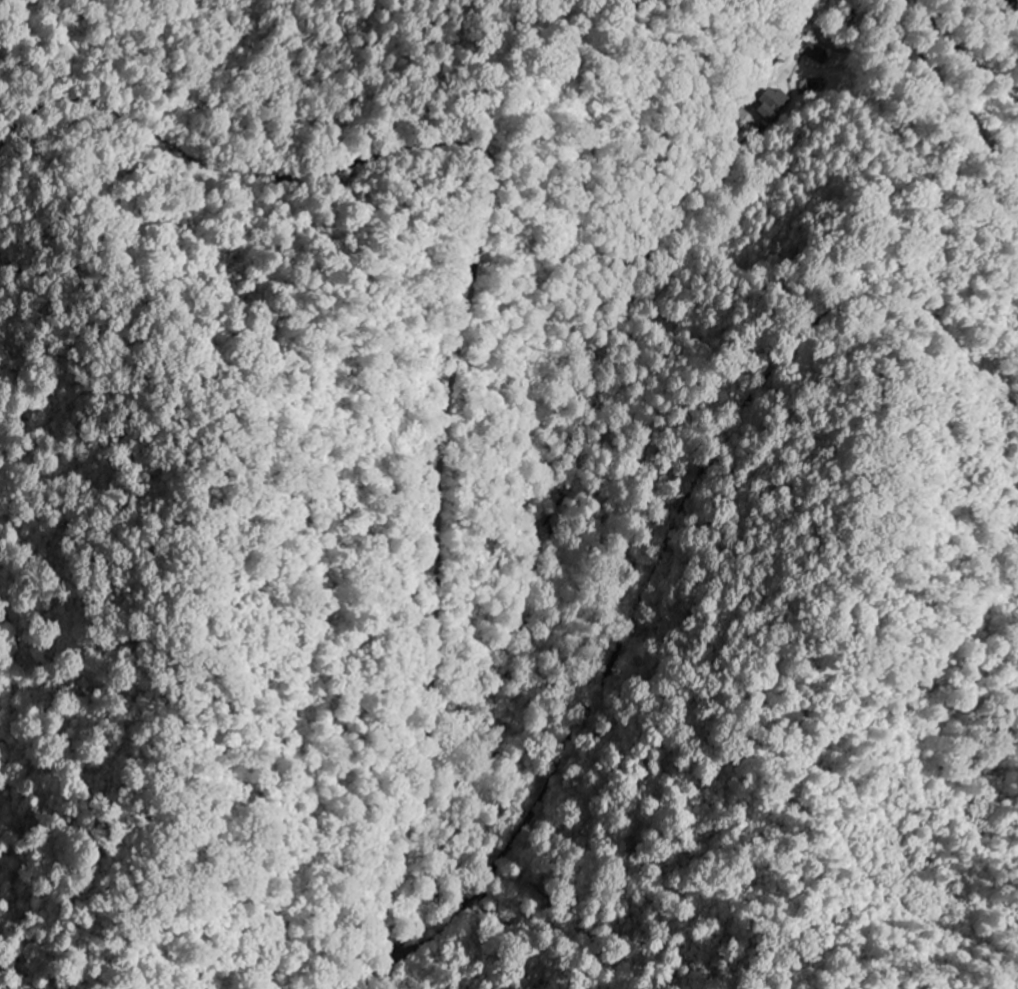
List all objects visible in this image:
building: (773, 103)
road: (921, 117)

